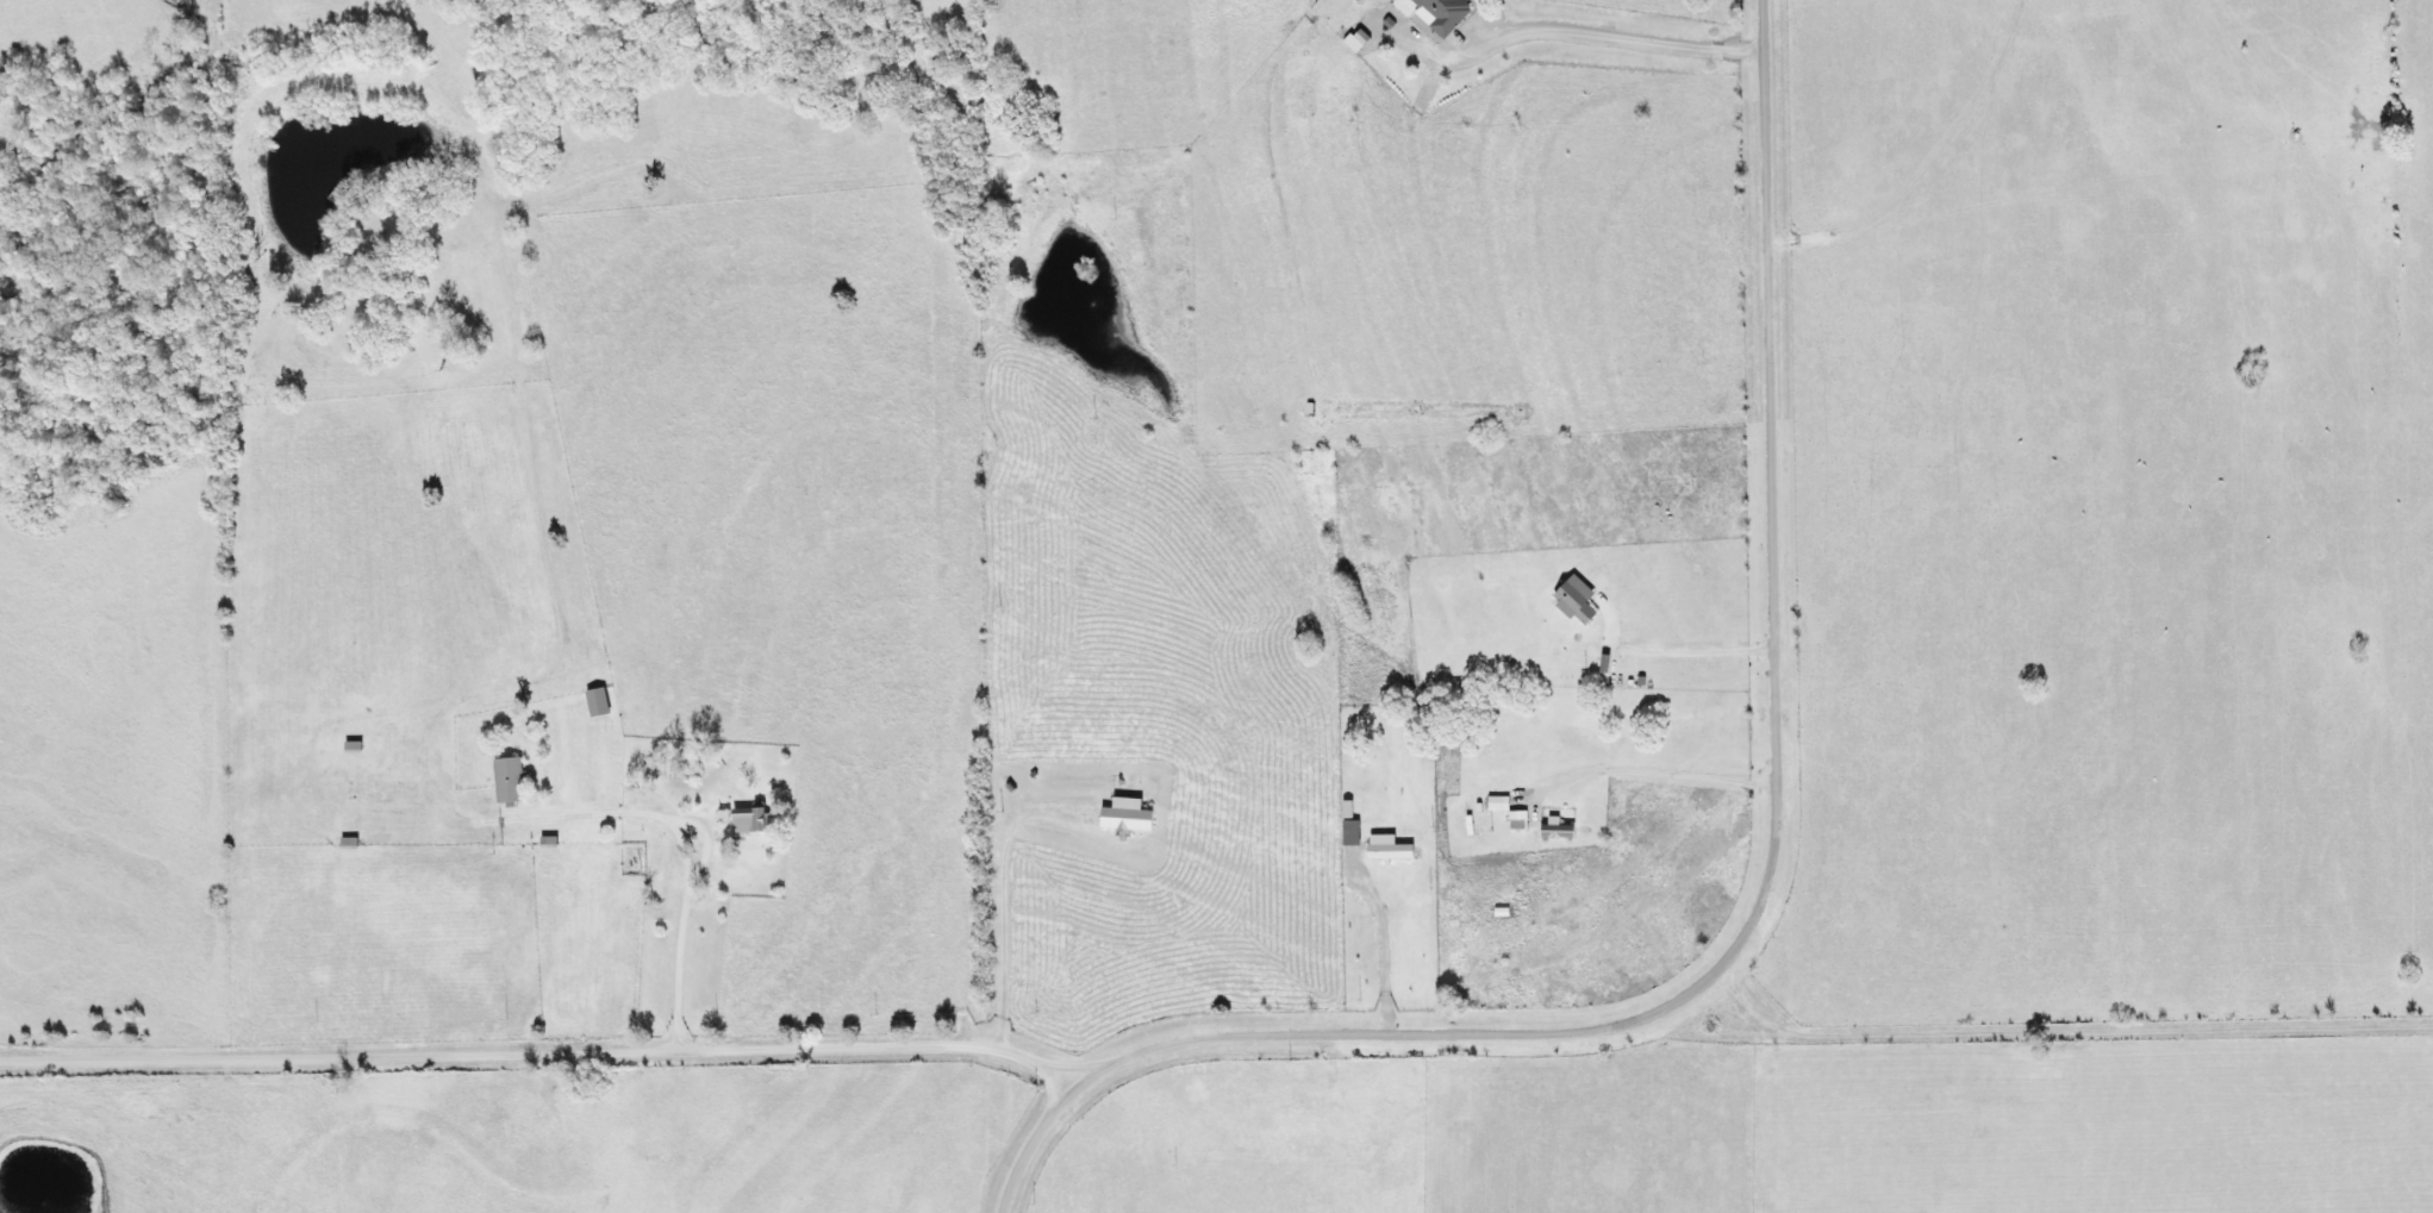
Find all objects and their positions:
building: (1429, 13)
building: (605, 702)
building: (518, 781)
building: (755, 819)
building: (649, 842)
building: (355, 843)
road: (1763, 894)
road: (547, 1046)

